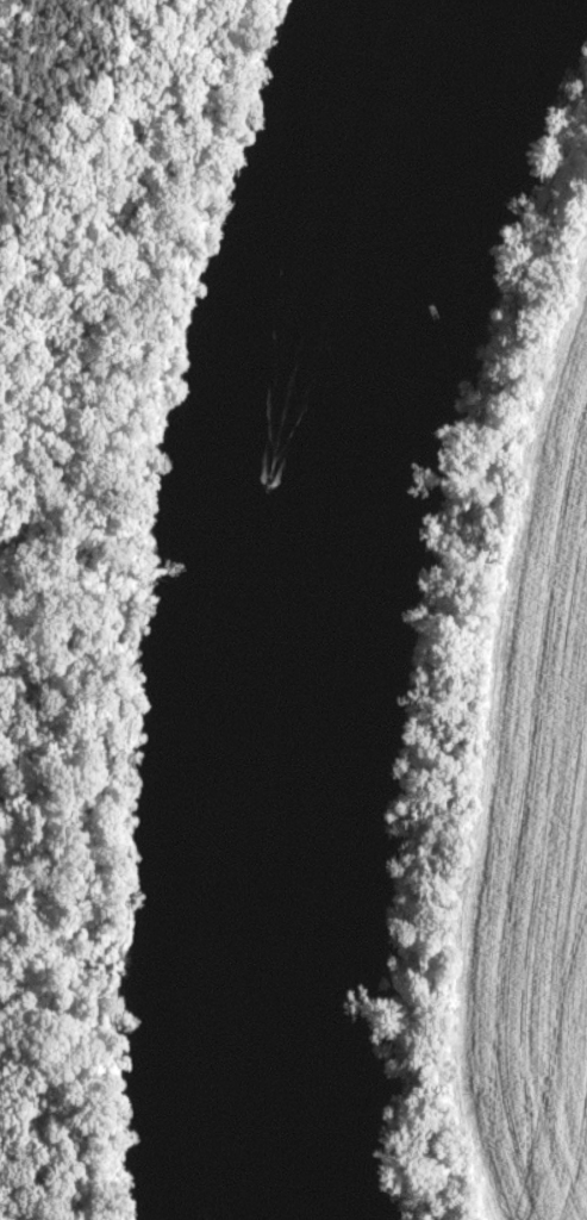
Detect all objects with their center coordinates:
road: (74, 558)
river: (301, 597)

